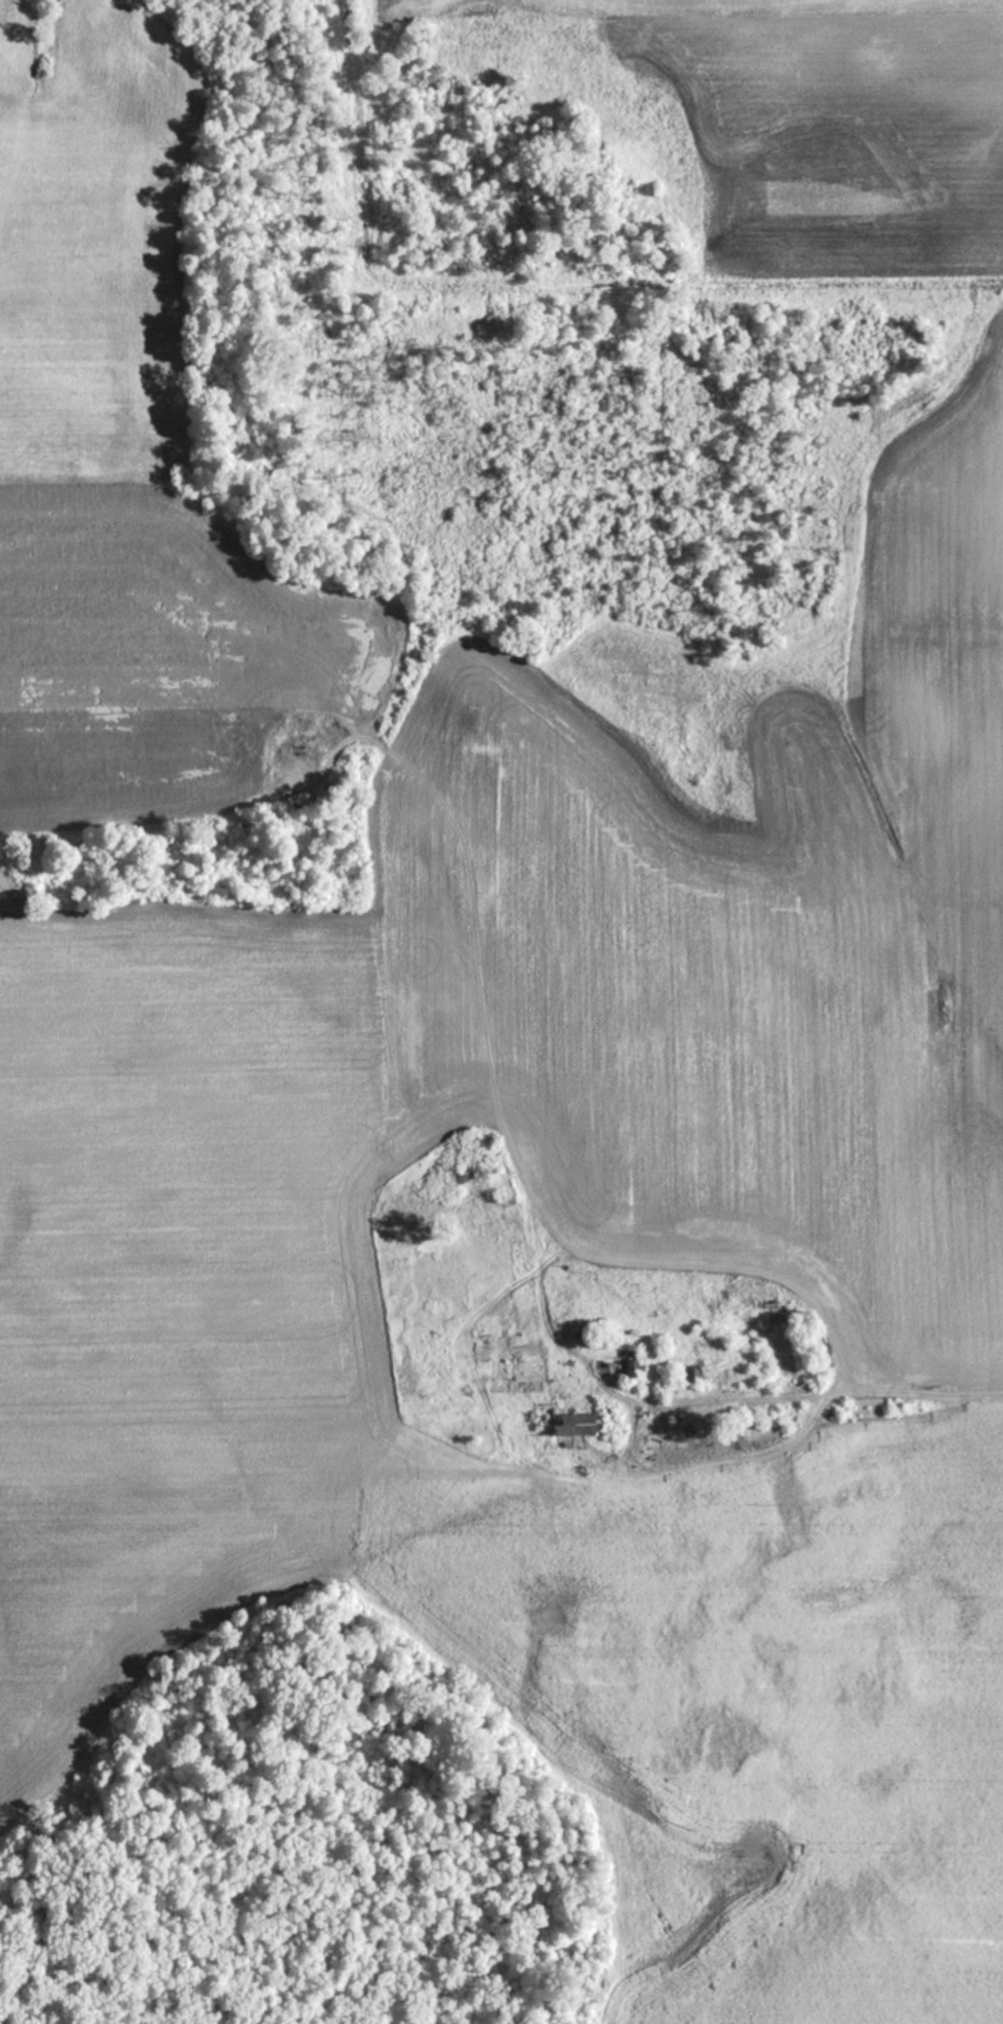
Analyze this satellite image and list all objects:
road: (857, 1396)
building: (561, 1425)

